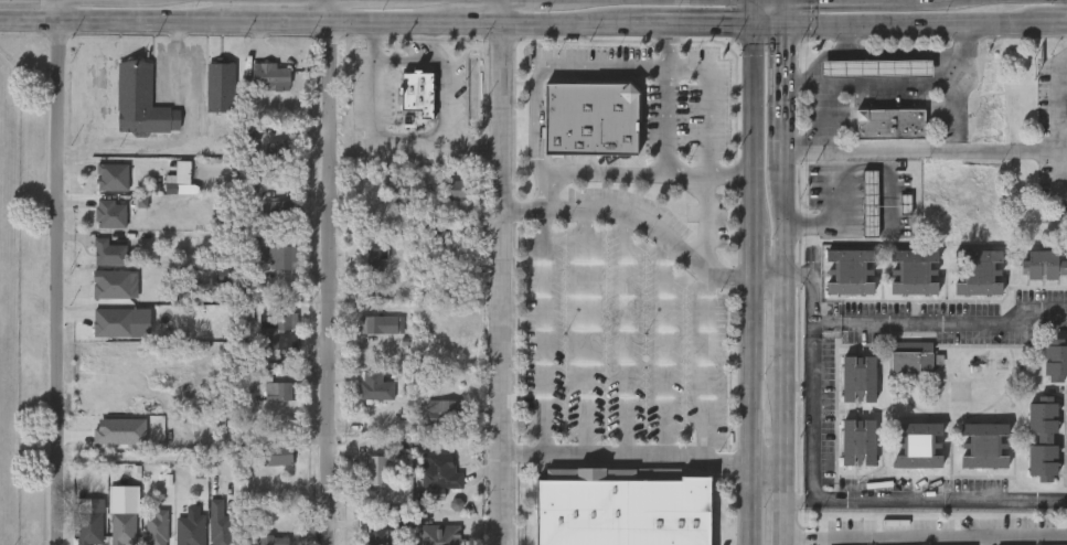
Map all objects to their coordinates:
road: (64, 11)
road: (334, 12)
road: (509, 12)
road: (748, 12)
road: (785, 12)
road: (1050, 22)
road: (32, 23)
road: (156, 23)
road: (909, 23)
road: (290, 24)
road: (396, 24)
road: (483, 24)
road: (574, 24)
road: (693, 25)
traffic signals: (748, 25)
road: (766, 25)
traffic signals: (785, 25)
road: (664, 46)
road: (407, 60)
road: (657, 67)
building: (875, 67)
gas station: (875, 67)
building: (266, 75)
road: (1064, 82)
road: (884, 85)
building: (220, 88)
building: (417, 93)
building: (141, 100)
road: (441, 107)
building: (591, 118)
road: (664, 121)
building: (888, 124)
road: (1060, 127)
road: (378, 148)
road: (921, 150)
building: (274, 153)
road: (642, 174)
building: (109, 178)
building: (180, 181)
building: (454, 189)
building: (868, 202)
road: (833, 207)
building: (279, 210)
building: (110, 214)
road: (626, 216)
building: (437, 229)
building: (108, 254)
building: (282, 258)
building: (370, 260)
building: (1043, 264)
building: (847, 270)
building: (911, 271)
building: (977, 271)
road: (766, 279)
road: (66, 284)
road: (505, 284)
building: (110, 285)
road: (334, 285)
road: (748, 285)
road: (782, 285)
road: (811, 288)
building: (111, 323)
road: (956, 323)
building: (381, 325)
road: (826, 325)
road: (812, 331)
building: (280, 333)
road: (542, 333)
road: (584, 333)
road: (625, 336)
road: (665, 348)
building: (909, 357)
road: (703, 359)
building: (1055, 359)
building: (856, 380)
building: (252, 381)
building: (373, 387)
building: (285, 392)
building: (441, 415)
road: (811, 419)
building: (119, 432)
building: (1042, 438)
building: (856, 442)
building: (917, 444)
building: (983, 445)
building: (277, 456)
road: (523, 457)
road: (644, 458)
road: (765, 467)
building: (374, 471)
building: (437, 472)
road: (789, 502)
road: (932, 502)
building: (457, 504)
building: (621, 509)
building: (120, 522)
building: (220, 524)
building: (157, 527)
building: (87, 528)
building: (188, 531)
building: (438, 536)
building: (380, 537)
road: (946, 539)
building: (273, 541)
road: (798, 541)
road: (820, 541)

